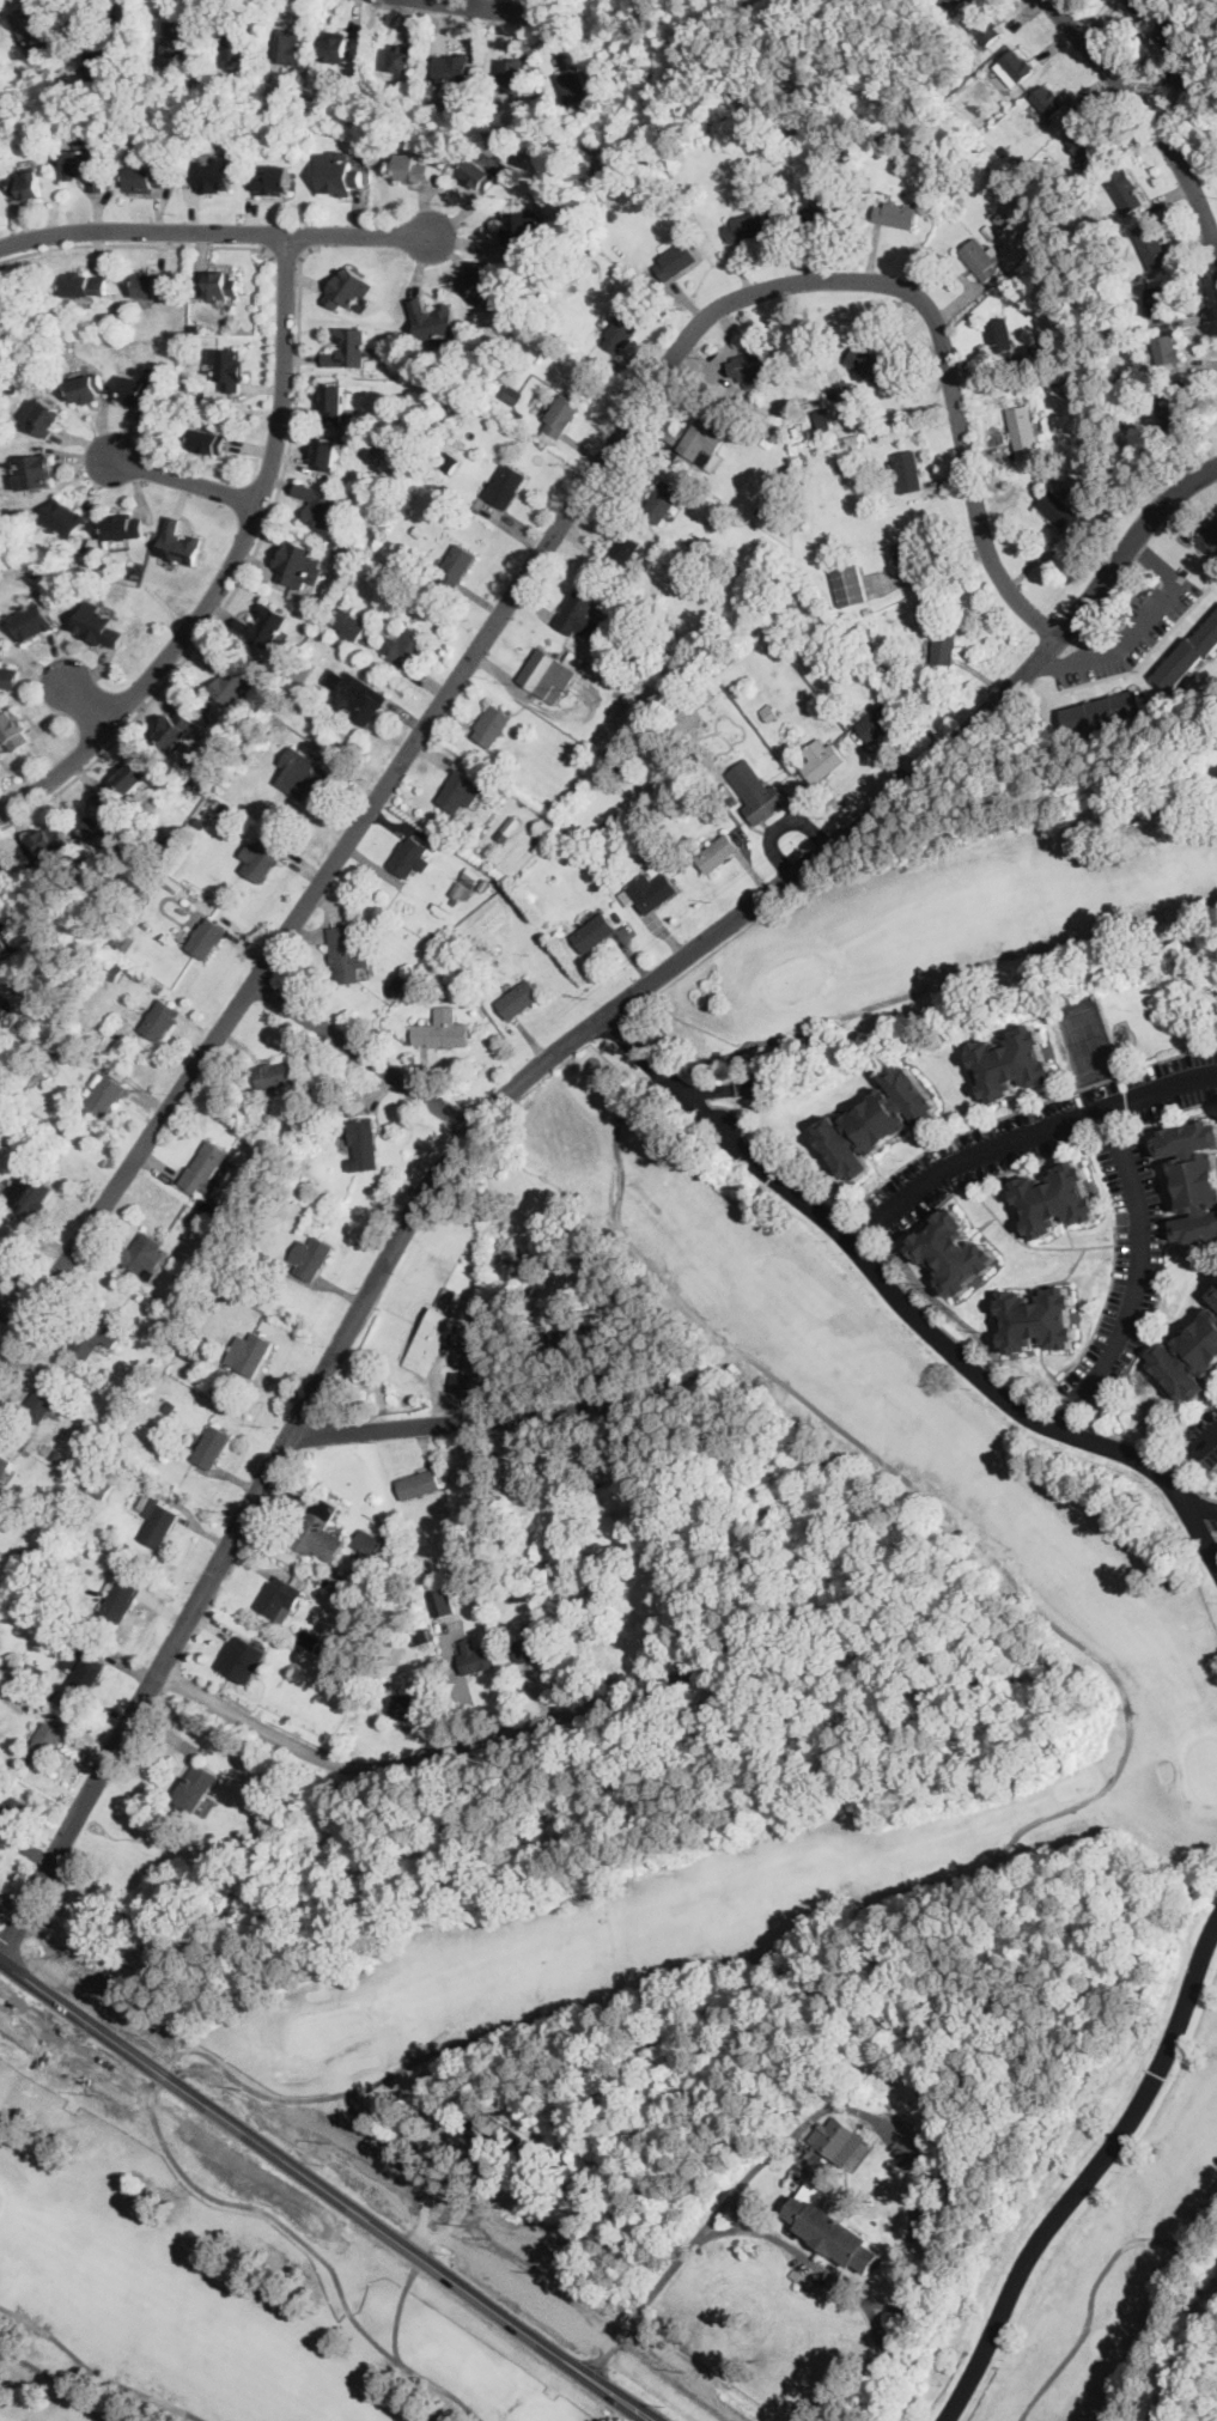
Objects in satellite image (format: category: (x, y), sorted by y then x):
building: (956, 2)
road: (509, 6)
building: (1143, 7)
building: (986, 28)
building: (30, 31)
building: (1172, 36)
building: (174, 39)
building: (235, 42)
building: (286, 44)
building: (335, 44)
park: (614, 45)
building: (196, 48)
building: (401, 57)
building: (101, 63)
building: (454, 66)
building: (1015, 67)
building: (262, 68)
building: (511, 75)
building: (1191, 77)
building: (248, 81)
building: (572, 84)
building: (329, 96)
building: (1048, 99)
building: (294, 107)
building: (387, 108)
building: (427, 109)
building: (917, 114)
road: (1149, 116)
building: (44, 144)
building: (1087, 145)
building: (953, 150)
building: (841, 151)
building: (1020, 165)
building: (86, 166)
building: (415, 170)
building: (217, 175)
building: (340, 175)
building: (479, 175)
building: (146, 180)
building: (275, 181)
building: (29, 184)
building: (1125, 191)
building: (611, 214)
building: (897, 214)
building: (821, 218)
building: (1004, 220)
building: (748, 226)
road: (213, 231)
building: (522, 231)
building: (990, 232)
building: (1015, 233)
road: (134, 242)
building: (1152, 243)
road: (284, 254)
building: (677, 261)
building: (982, 261)
building: (481, 282)
building: (87, 285)
building: (224, 285)
building: (152, 286)
building: (348, 287)
building: (511, 300)
building: (1158, 300)
building: (122, 317)
building: (434, 322)
building: (195, 327)
building: (622, 331)
building: (1000, 337)
building: (348, 349)
building: (1167, 349)
building: (1042, 351)
building: (869, 364)
building: (230, 366)
building: (748, 367)
building: (1055, 376)
building: (1125, 381)
building: (494, 385)
building: (13, 387)
building: (89, 388)
building: (140, 394)
building: (836, 394)
building: (515, 395)
building: (796, 395)
building: (333, 401)
building: (1174, 408)
building: (519, 415)
building: (47, 418)
building: (560, 418)
building: (824, 424)
building: (1023, 430)
building: (813, 432)
building: (699, 437)
building: (208, 442)
building: (830, 442)
building: (850, 442)
building: (325, 452)
building: (449, 463)
building: (908, 470)
building: (36, 472)
road: (181, 477)
building: (505, 487)
building: (663, 500)
building: (320, 505)
building: (771, 507)
building: (1061, 511)
building: (65, 518)
building: (126, 527)
building: (420, 531)
building: (1209, 539)
building: (692, 542)
building: (179, 543)
building: (334, 545)
building: (915, 553)
building: (621, 554)
road: (1158, 561)
road: (229, 562)
building: (299, 562)
building: (458, 565)
road: (238, 573)
building: (850, 585)
road: (513, 589)
building: (796, 595)
building: (868, 612)
building: (627, 613)
building: (777, 613)
building: (579, 618)
building: (31, 621)
building: (263, 625)
building: (98, 626)
building: (354, 628)
building: (869, 631)
road: (1131, 634)
building: (826, 643)
building: (945, 644)
building: (640, 646)
building: (410, 649)
building: (2, 650)
building: (1188, 656)
building: (574, 661)
road: (1049, 661)
building: (282, 664)
building: (614, 664)
building: (300, 671)
building: (547, 676)
building: (8, 677)
building: (229, 681)
building: (273, 685)
building: (828, 697)
building: (357, 698)
road: (84, 701)
building: (631, 708)
building: (1103, 711)
building: (652, 714)
building: (771, 714)
building: (877, 720)
building: (492, 725)
building: (261, 728)
building: (176, 729)
building: (14, 731)
building: (2, 743)
building: (661, 761)
building: (821, 761)
building: (134, 774)
building: (305, 775)
building: (460, 791)
building: (755, 791)
building: (227, 810)
building: (105, 820)
building: (200, 822)
building: (512, 825)
building: (611, 828)
building: (50, 844)
building: (718, 853)
building: (410, 857)
building: (262, 860)
building: (468, 881)
building: (485, 881)
building: (169, 882)
building: (491, 890)
building: (650, 892)
building: (595, 932)
building: (5, 937)
building: (207, 939)
building: (126, 942)
building: (346, 954)
building: (446, 961)
building: (112, 967)
building: (397, 984)
building: (407, 994)
building: (519, 999)
building: (5, 1009)
building: (160, 1021)
building: (442, 1033)
park: (1085, 1041)
road: (361, 1056)
building: (1012, 1063)
building: (611, 1071)
building: (118, 1075)
building: (275, 1075)
building: (752, 1087)
building: (107, 1096)
building: (357, 1102)
road: (486, 1111)
building: (316, 1121)
building: (878, 1121)
building: (13, 1124)
road: (1023, 1137)
building: (363, 1144)
building: (205, 1168)
building: (1194, 1178)
building: (28, 1194)
building: (1055, 1199)
building: (211, 1209)
building: (513, 1249)
building: (954, 1252)
building: (116, 1255)
building: (144, 1255)
building: (230, 1257)
building: (311, 1258)
building: (5, 1264)
building: (527, 1267)
road: (1139, 1276)
building: (183, 1279)
building: (248, 1281)
building: (241, 1289)
building: (171, 1294)
building: (256, 1296)
building: (1215, 1296)
road: (905, 1303)
building: (236, 1306)
building: (470, 1314)
building: (1039, 1319)
building: (205, 1325)
building: (96, 1332)
building: (168, 1333)
building: (571, 1339)
building: (431, 1340)
building: (249, 1354)
building: (188, 1355)
building: (1189, 1358)
building: (469, 1365)
building: (42, 1400)
building: (170, 1406)
road: (452, 1423)
building: (212, 1447)
building: (47, 1449)
building: (91, 1450)
building: (592, 1450)
road: (1189, 1452)
building: (56, 1455)
building: (66, 1462)
building: (4, 1465)
building: (481, 1479)
building: (105, 1484)
building: (419, 1484)
building: (144, 1502)
road: (1203, 1505)
building: (12, 1511)
building: (158, 1523)
building: (318, 1531)
building: (369, 1543)
building: (395, 1549)
building: (25, 1552)
building: (548, 1563)
building: (136, 1570)
building: (367, 1575)
building: (501, 1584)
building: (118, 1598)
building: (282, 1598)
building: (51, 1599)
building: (443, 1604)
building: (55, 1607)
building: (421, 1636)
building: (310, 1640)
building: (534, 1648)
building: (323, 1649)
building: (241, 1657)
building: (476, 1657)
building: (35, 1669)
building: (85, 1675)
building: (51, 1692)
building: (408, 1704)
road: (558, 1714)
building: (45, 1744)
building: (196, 1787)
building: (11, 1815)
building: (266, 1848)
park: (729, 1881)
road: (13, 1944)
road: (214, 2079)
building: (488, 2088)
road: (893, 2125)
building: (489, 2129)
building: (834, 2136)
road: (187, 2143)
road: (1090, 2176)
road: (354, 2185)
road: (333, 2207)
road: (389, 2222)
building: (832, 2231)
road: (785, 2244)
road: (1096, 2285)
road: (579, 2304)
road: (500, 2331)
railway: (1185, 2350)
building: (900, 2385)

